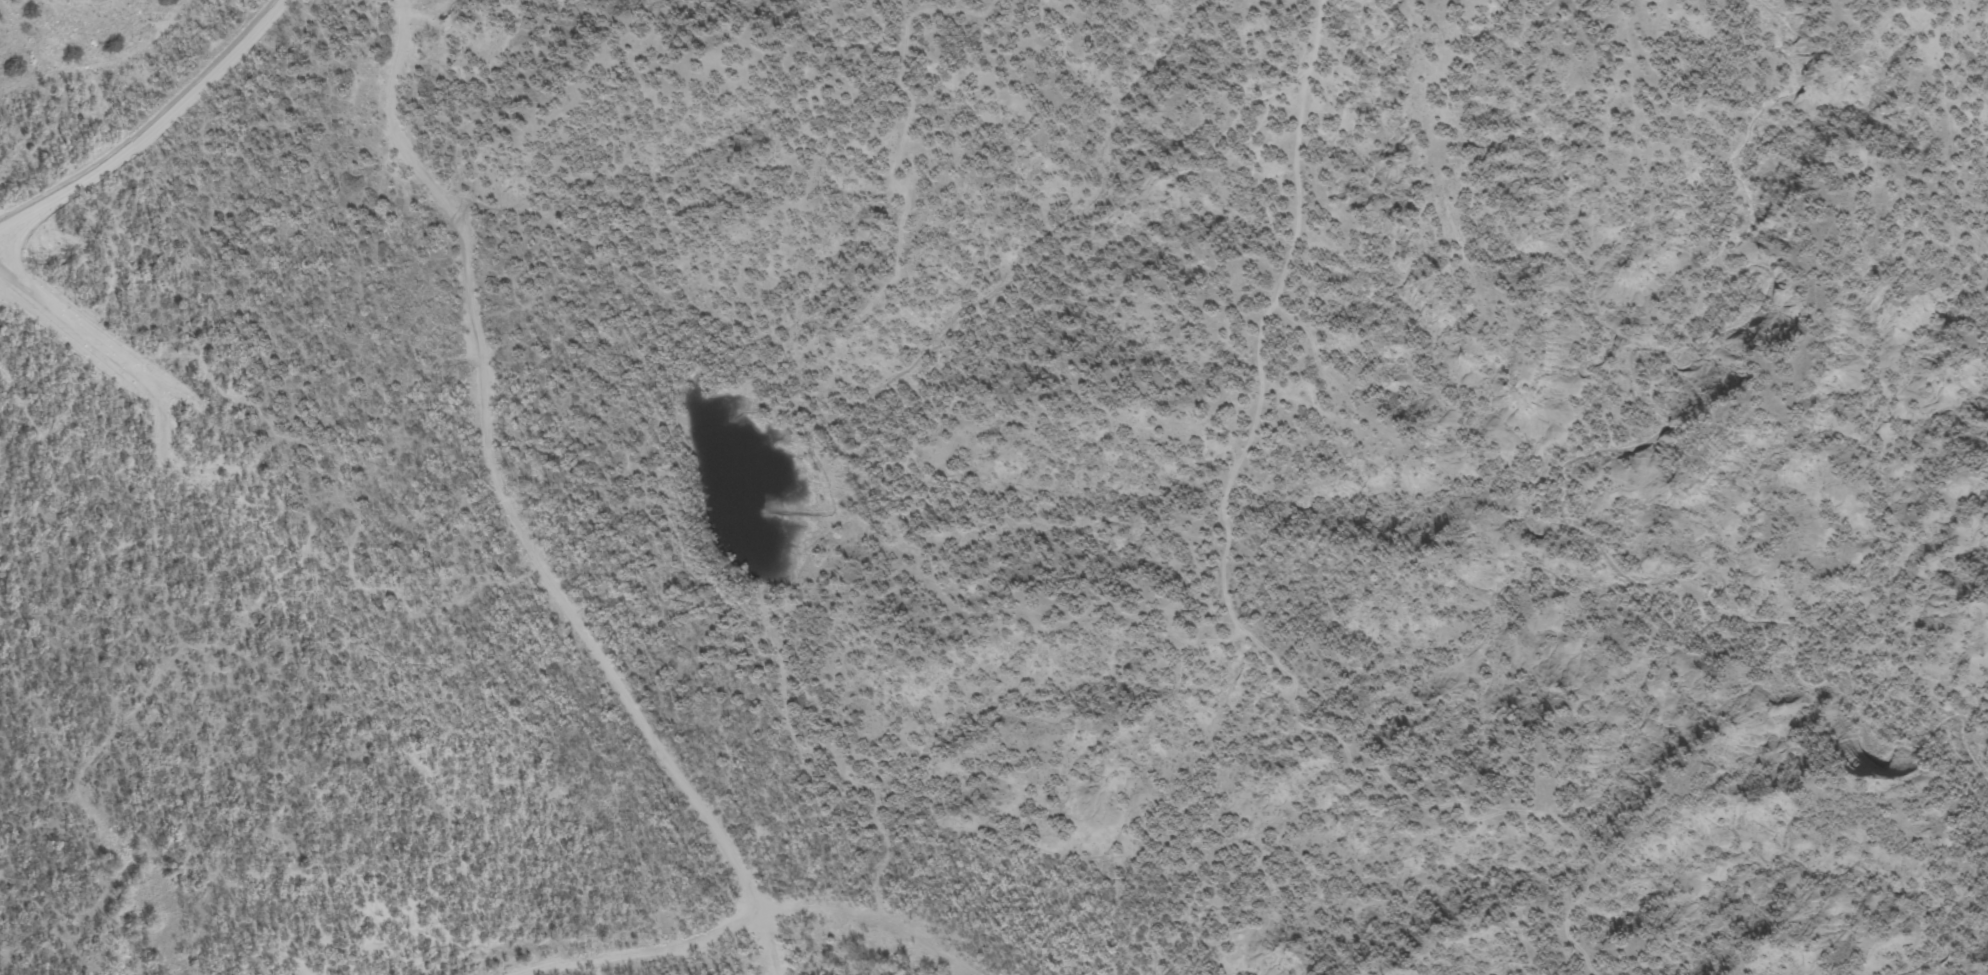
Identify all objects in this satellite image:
road: (151, 126)
road: (451, 201)

